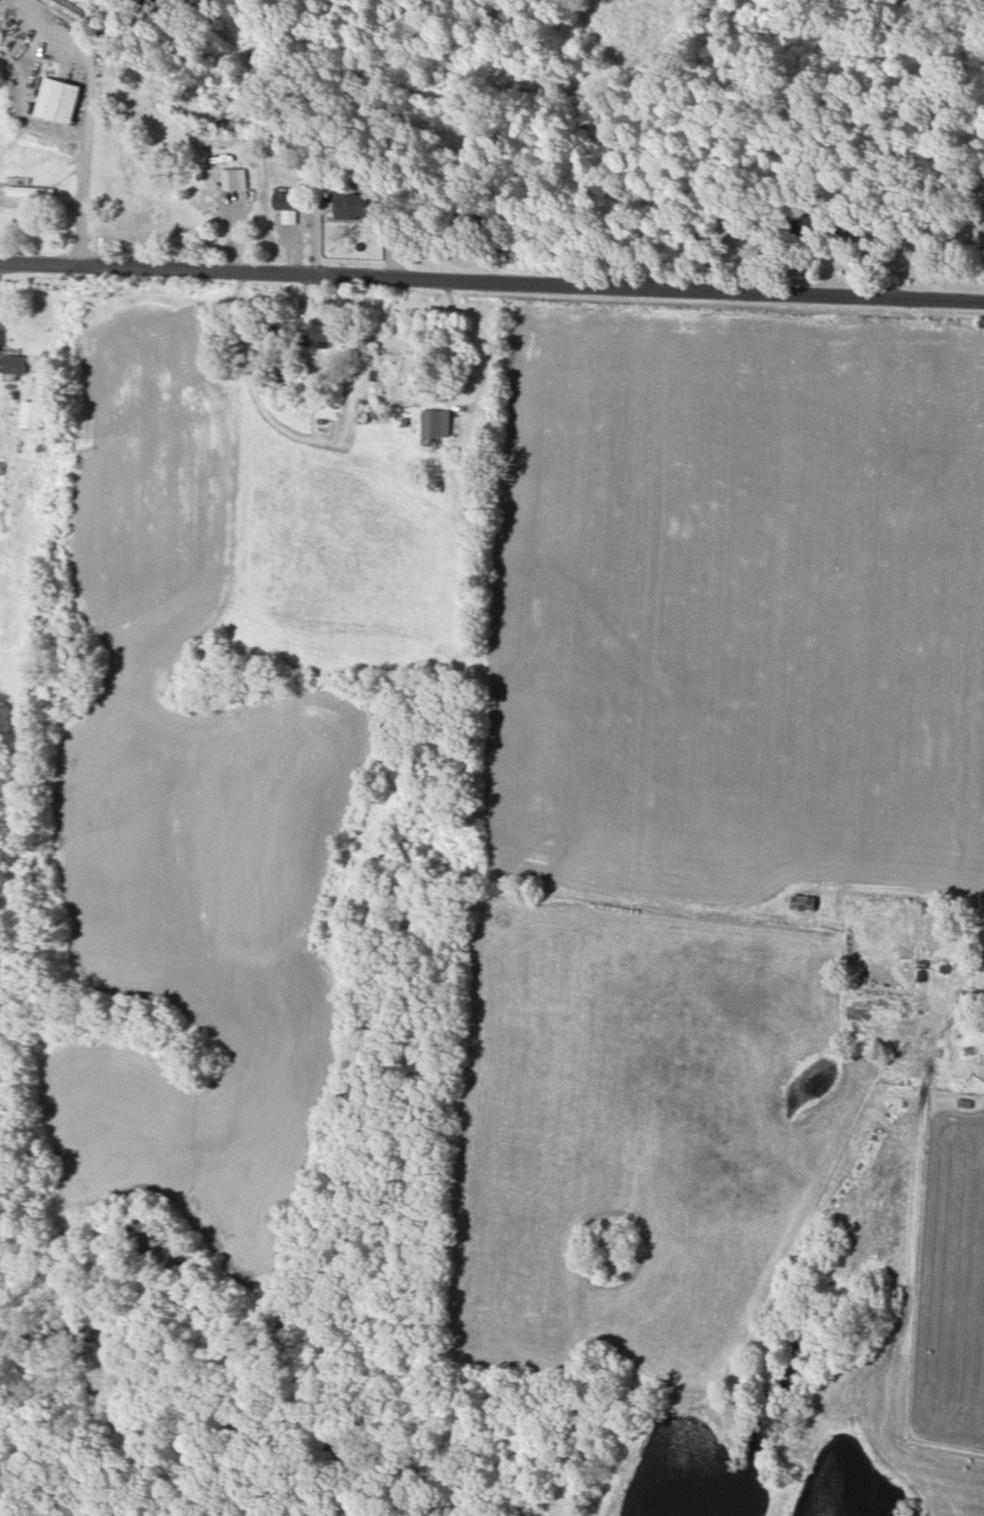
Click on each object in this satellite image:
building: (70, 8)
building: (58, 100)
road: (88, 115)
building: (236, 178)
building: (32, 191)
road: (40, 203)
building: (355, 205)
building: (287, 206)
building: (811, 224)
road: (491, 277)
building: (319, 332)
road: (481, 337)
building: (14, 364)
building: (31, 414)
building: (436, 423)
crop: (736, 601)
crop: (14, 611)
crop: (188, 803)
crop: (699, 1157)

